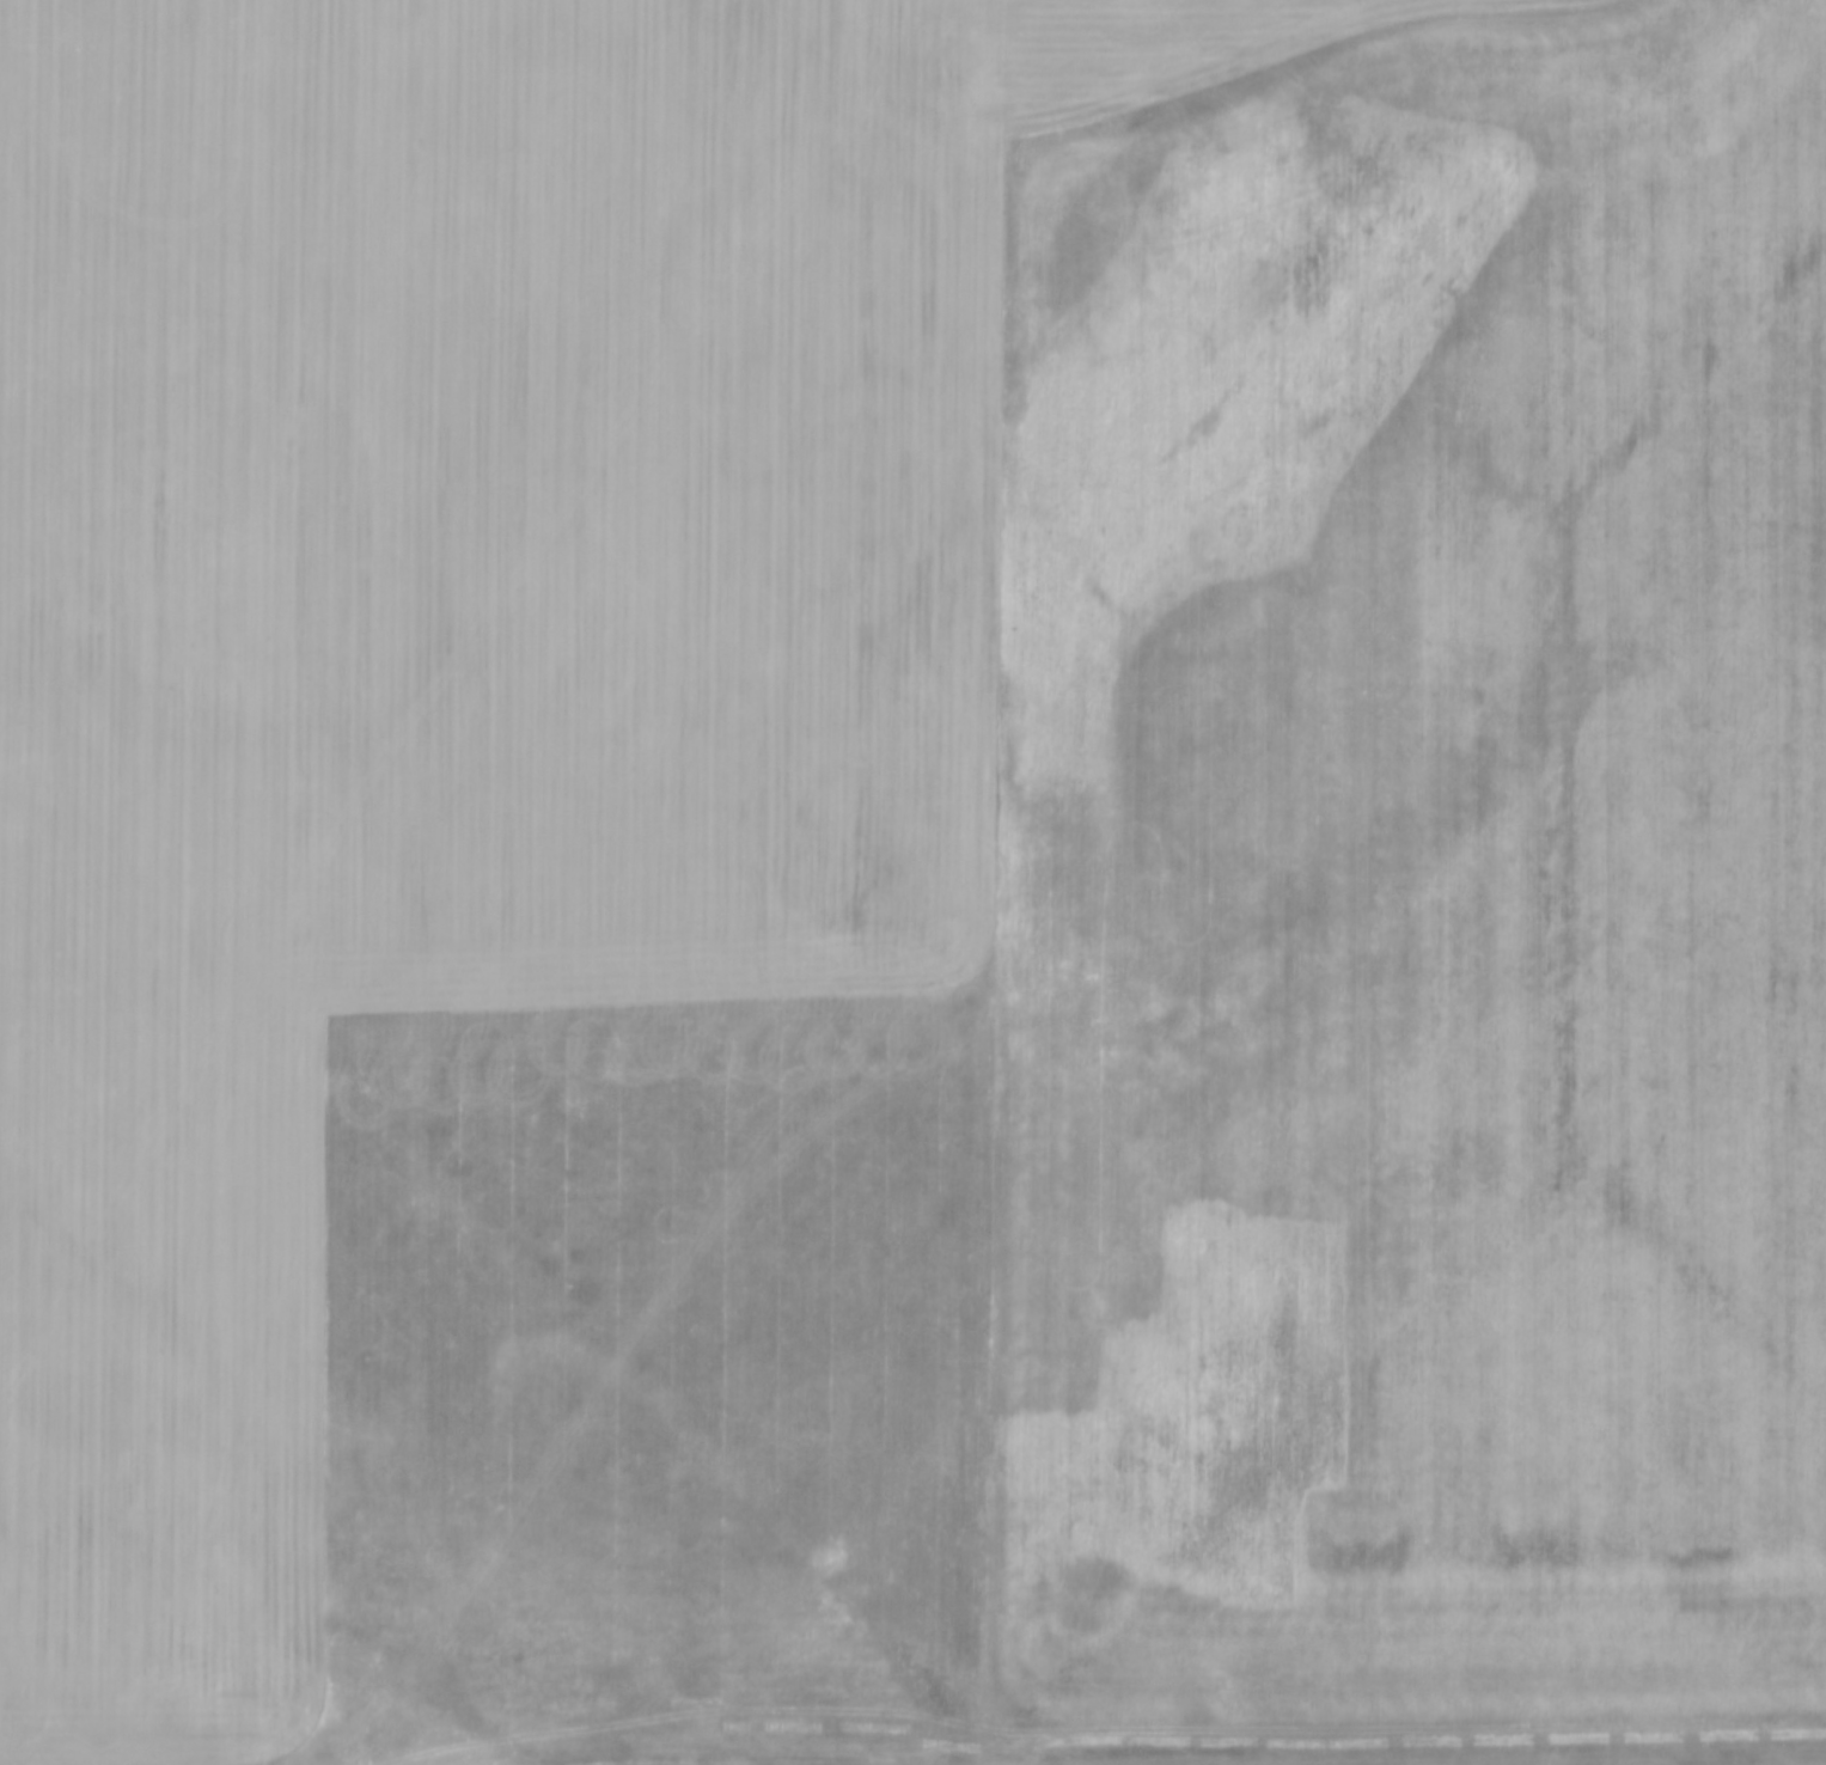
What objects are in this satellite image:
road: (1343, 1758)

